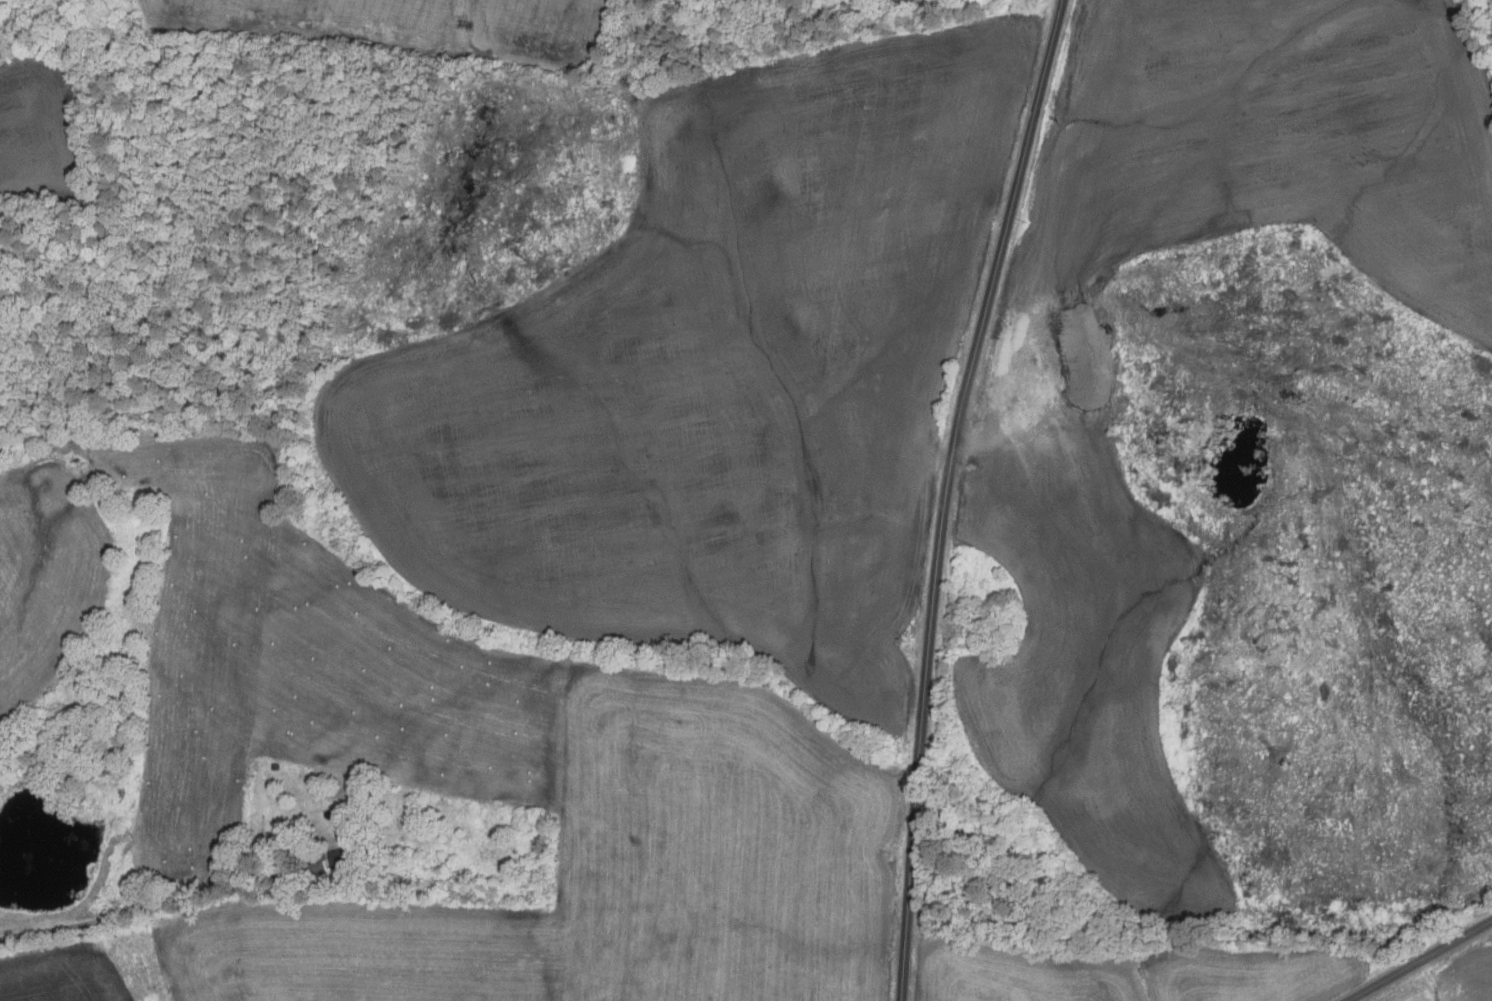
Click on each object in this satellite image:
crop: (39, 130)
crop: (39, 130)
crop: (716, 379)
crop: (1043, 410)
road: (946, 494)
building: (988, 579)
crop: (443, 759)
building: (399, 839)
building: (344, 858)
road: (164, 904)
road: (1419, 960)
crop: (1127, 973)
crop: (62, 975)
crop: (1452, 979)

